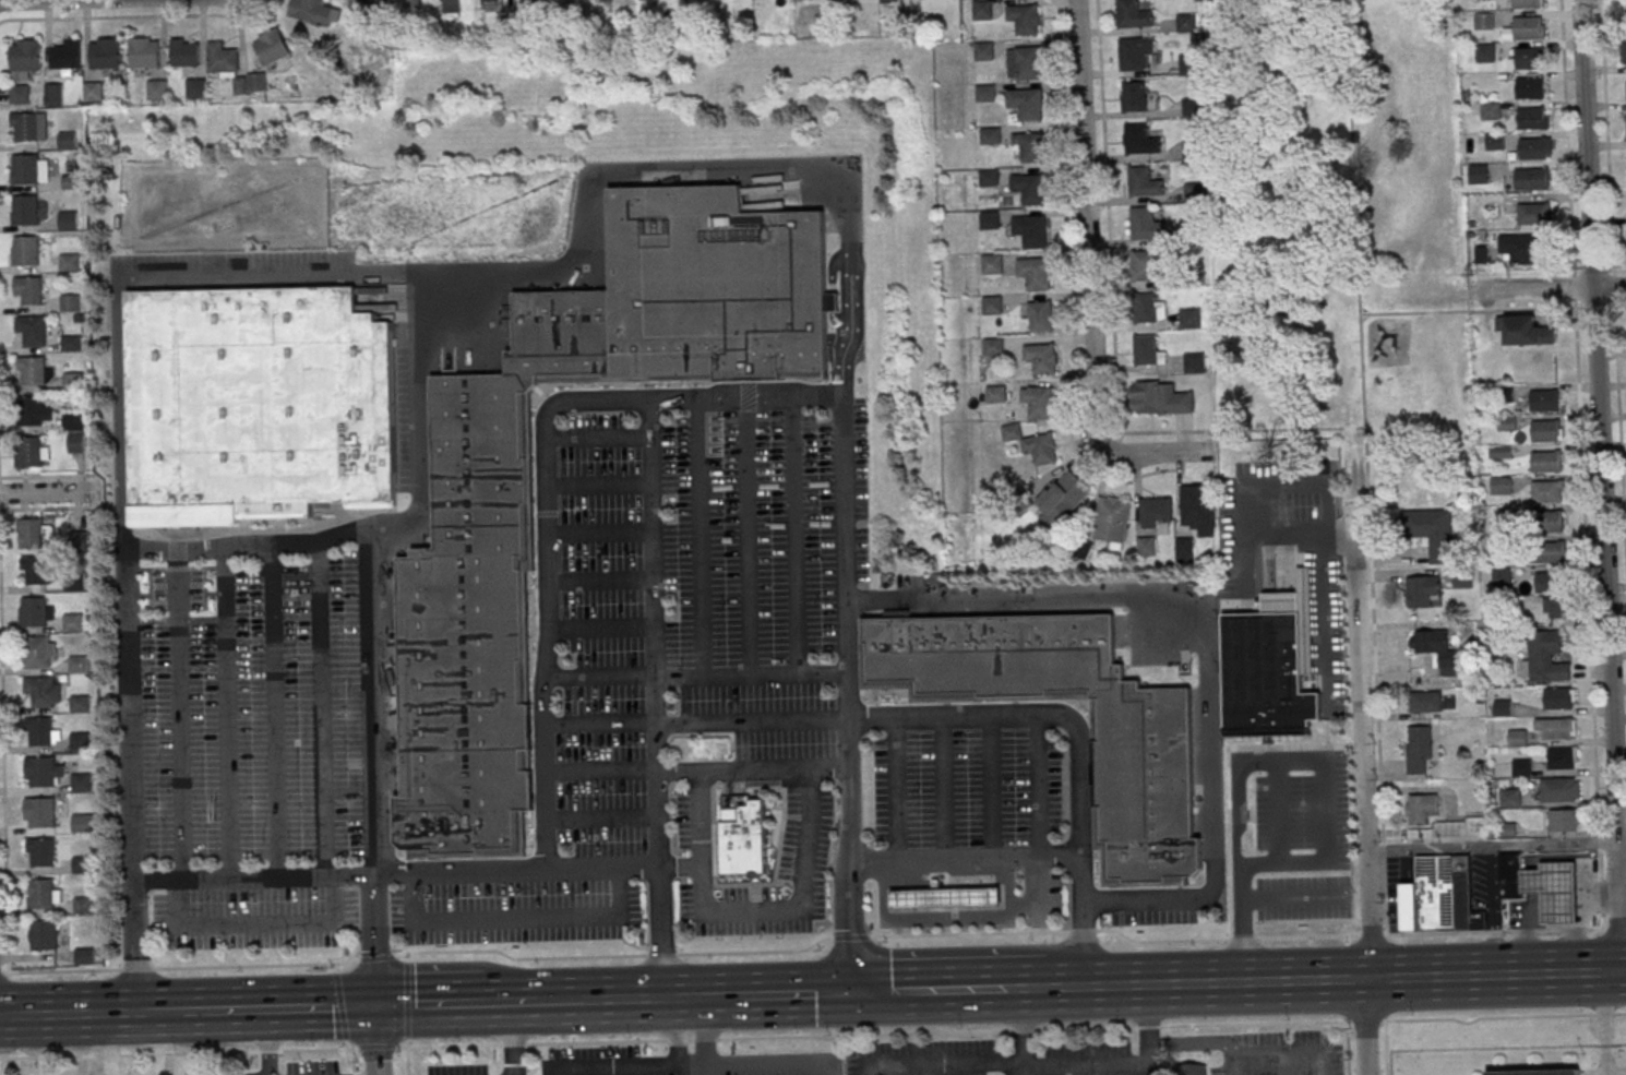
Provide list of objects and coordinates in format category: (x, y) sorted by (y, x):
building: (605, 0)
building: (567, 1)
building: (489, 2)
building: (372, 3)
building: (451, 3)
building: (1526, 4)
building: (982, 10)
building: (311, 11)
building: (1127, 13)
building: (1024, 19)
building: (1483, 21)
building: (1185, 22)
building: (1529, 27)
building: (272, 47)
building: (983, 51)
building: (145, 52)
building: (184, 52)
building: (1131, 52)
building: (1484, 52)
building: (1625, 52)
building: (105, 53)
building: (67, 55)
building: (25, 56)
building: (223, 58)
building: (1529, 59)
building: (1024, 62)
building: (1191, 63)
building: (255, 82)
building: (196, 88)
building: (1530, 88)
building: (157, 89)
building: (94, 91)
building: (53, 93)
building: (985, 93)
building: (20, 94)
building: (1134, 96)
building: (1027, 104)
building: (1193, 107)
building: (1490, 111)
building: (1532, 118)
building: (28, 127)
road: (1606, 133)
building: (990, 135)
building: (1136, 139)
building: (69, 140)
building: (1492, 142)
building: (1028, 146)
building: (1194, 148)
building: (1533, 148)
road: (1568, 153)
building: (29, 169)
building: (1478, 174)
building: (988, 178)
building: (1532, 179)
building: (1144, 182)
building: (1028, 189)
building: (1194, 191)
road: (590, 193)
building: (24, 210)
park: (1336, 211)
building: (1534, 215)
building: (69, 220)
building: (989, 220)
building: (1146, 224)
building: (1031, 231)
building: (1193, 234)
building: (1522, 248)
building: (24, 250)
building: (70, 262)
building: (992, 264)
building: (1144, 265)
road: (1592, 266)
building: (1035, 273)
building: (1194, 276)
road: (1089, 277)
road: (135, 279)
building: (706, 287)
road: (1551, 288)
building: (27, 290)
building: (71, 303)
building: (992, 304)
road: (1610, 306)
building: (1145, 308)
road: (1478, 310)
building: (1040, 318)
building: (1191, 318)
building: (33, 331)
building: (1525, 331)
building: (72, 342)
building: (993, 346)
building: (1146, 350)
building: (1041, 359)
building: (1194, 362)
building: (34, 370)
building: (74, 381)
building: (995, 394)
building: (1505, 394)
building: (1159, 398)
building: (1544, 401)
building: (1038, 402)
road: (1618, 402)
building: (256, 404)
building: (34, 411)
building: (73, 423)
road: (1241, 431)
building: (1544, 431)
building: (75, 443)
building: (1033, 444)
building: (28, 453)
building: (1545, 463)
road: (1366, 466)
road: (1266, 485)
road: (1601, 485)
building: (1501, 486)
road: (543, 491)
building: (1546, 491)
road: (46, 492)
building: (1062, 500)
building: (1196, 501)
building: (1155, 512)
building: (1112, 521)
building: (1547, 522)
building: (1432, 531)
building: (31, 534)
road: (1283, 534)
road: (794, 535)
road: (745, 536)
road: (700, 537)
building: (79, 540)
road: (275, 545)
building: (1501, 545)
building: (1146, 546)
building: (1185, 548)
building: (1550, 552)
building: (36, 571)
building: (1502, 576)
building: (1550, 583)
building: (476, 592)
building: (1423, 592)
building: (1555, 607)
building: (35, 611)
road: (1327, 618)
building: (74, 622)
road: (1589, 629)
road: (1203, 645)
building: (1435, 650)
building: (39, 653)
building: (1544, 658)
building: (80, 665)
building: (1265, 669)
road: (693, 677)
building: (40, 692)
road: (132, 693)
road: (845, 694)
building: (1557, 697)
road: (655, 698)
building: (81, 702)
building: (1424, 702)
road: (371, 703)
building: (1502, 708)
road: (321, 709)
road: (275, 712)
road: (226, 713)
road: (180, 715)
road: (751, 721)
road: (598, 722)
building: (1556, 728)
building: (39, 731)
building: (1517, 738)
road: (1077, 740)
building: (81, 741)
building: (1418, 750)
building: (1562, 757)
road: (1323, 763)
building: (1521, 768)
road: (599, 769)
building: (1140, 769)
road: (752, 771)
building: (41, 772)
road: (4, 777)
building: (81, 783)
road: (1037, 787)
road: (994, 788)
road: (944, 789)
road: (1364, 789)
building: (1559, 789)
road: (898, 790)
road: (810, 792)
building: (1509, 798)
building: (1420, 809)
building: (40, 813)
road: (600, 817)
building: (1563, 820)
building: (83, 823)
building: (1471, 825)
building: (739, 840)
road: (1497, 847)
building: (43, 851)
road: (135, 860)
road: (965, 860)
building: (83, 863)
road: (680, 865)
road: (601, 868)
road: (458, 871)
building: (1510, 876)
road: (253, 877)
building: (1553, 892)
building: (43, 894)
building: (1439, 896)
road: (1290, 898)
building: (944, 899)
gas station: (944, 899)
road: (727, 910)
road: (515, 916)
road: (256, 923)
road: (1238, 924)
road: (1083, 930)
road: (970, 933)
building: (44, 934)
road: (1370, 934)
road: (1385, 934)
road: (850, 936)
road: (1306, 936)
road: (1242, 939)
road: (374, 940)
road: (1160, 941)
road: (138, 946)
road: (755, 952)
road: (661, 955)
building: (85, 956)
road: (376, 956)
road: (405, 957)
road: (521, 957)
road: (179, 967)
road: (335, 967)
road: (1340, 979)
road: (953, 989)
traffic signals: (852, 993)
road: (793, 994)
road: (721, 996)
road: (689, 998)
road: (705, 998)
road: (668, 999)
road: (631, 1000)
road: (407, 1001)
road: (575, 1001)
road: (512, 1002)
road: (426, 1005)
road: (340, 1006)
road: (352, 1006)
traffic signals: (376, 1006)
road: (303, 1008)
road: (208, 1011)
road: (1597, 1011)
road: (120, 1013)
road: (50, 1014)
road: (1235, 1024)
road: (1021, 1030)
road: (703, 1031)
road: (675, 1032)
road: (862, 1035)
road: (512, 1039)
road: (376, 1040)
road: (675, 1040)
road: (689, 1040)
road: (703, 1040)
road: (1199, 1041)
road: (596, 1042)
road: (512, 1044)
road: (447, 1047)
road: (1346, 1048)
road: (375, 1049)
road: (177, 1053)
road: (1286, 1055)
road: (352, 1056)
road: (407, 1059)
road: (1124, 1060)
road: (1599, 1062)
road: (762, 1064)
road: (979, 1065)
road: (1233, 1066)
road: (610, 1068)
road: (1020, 1070)
building: (1185, 1070)
road: (693, 1071)
building: (1537, 1072)

